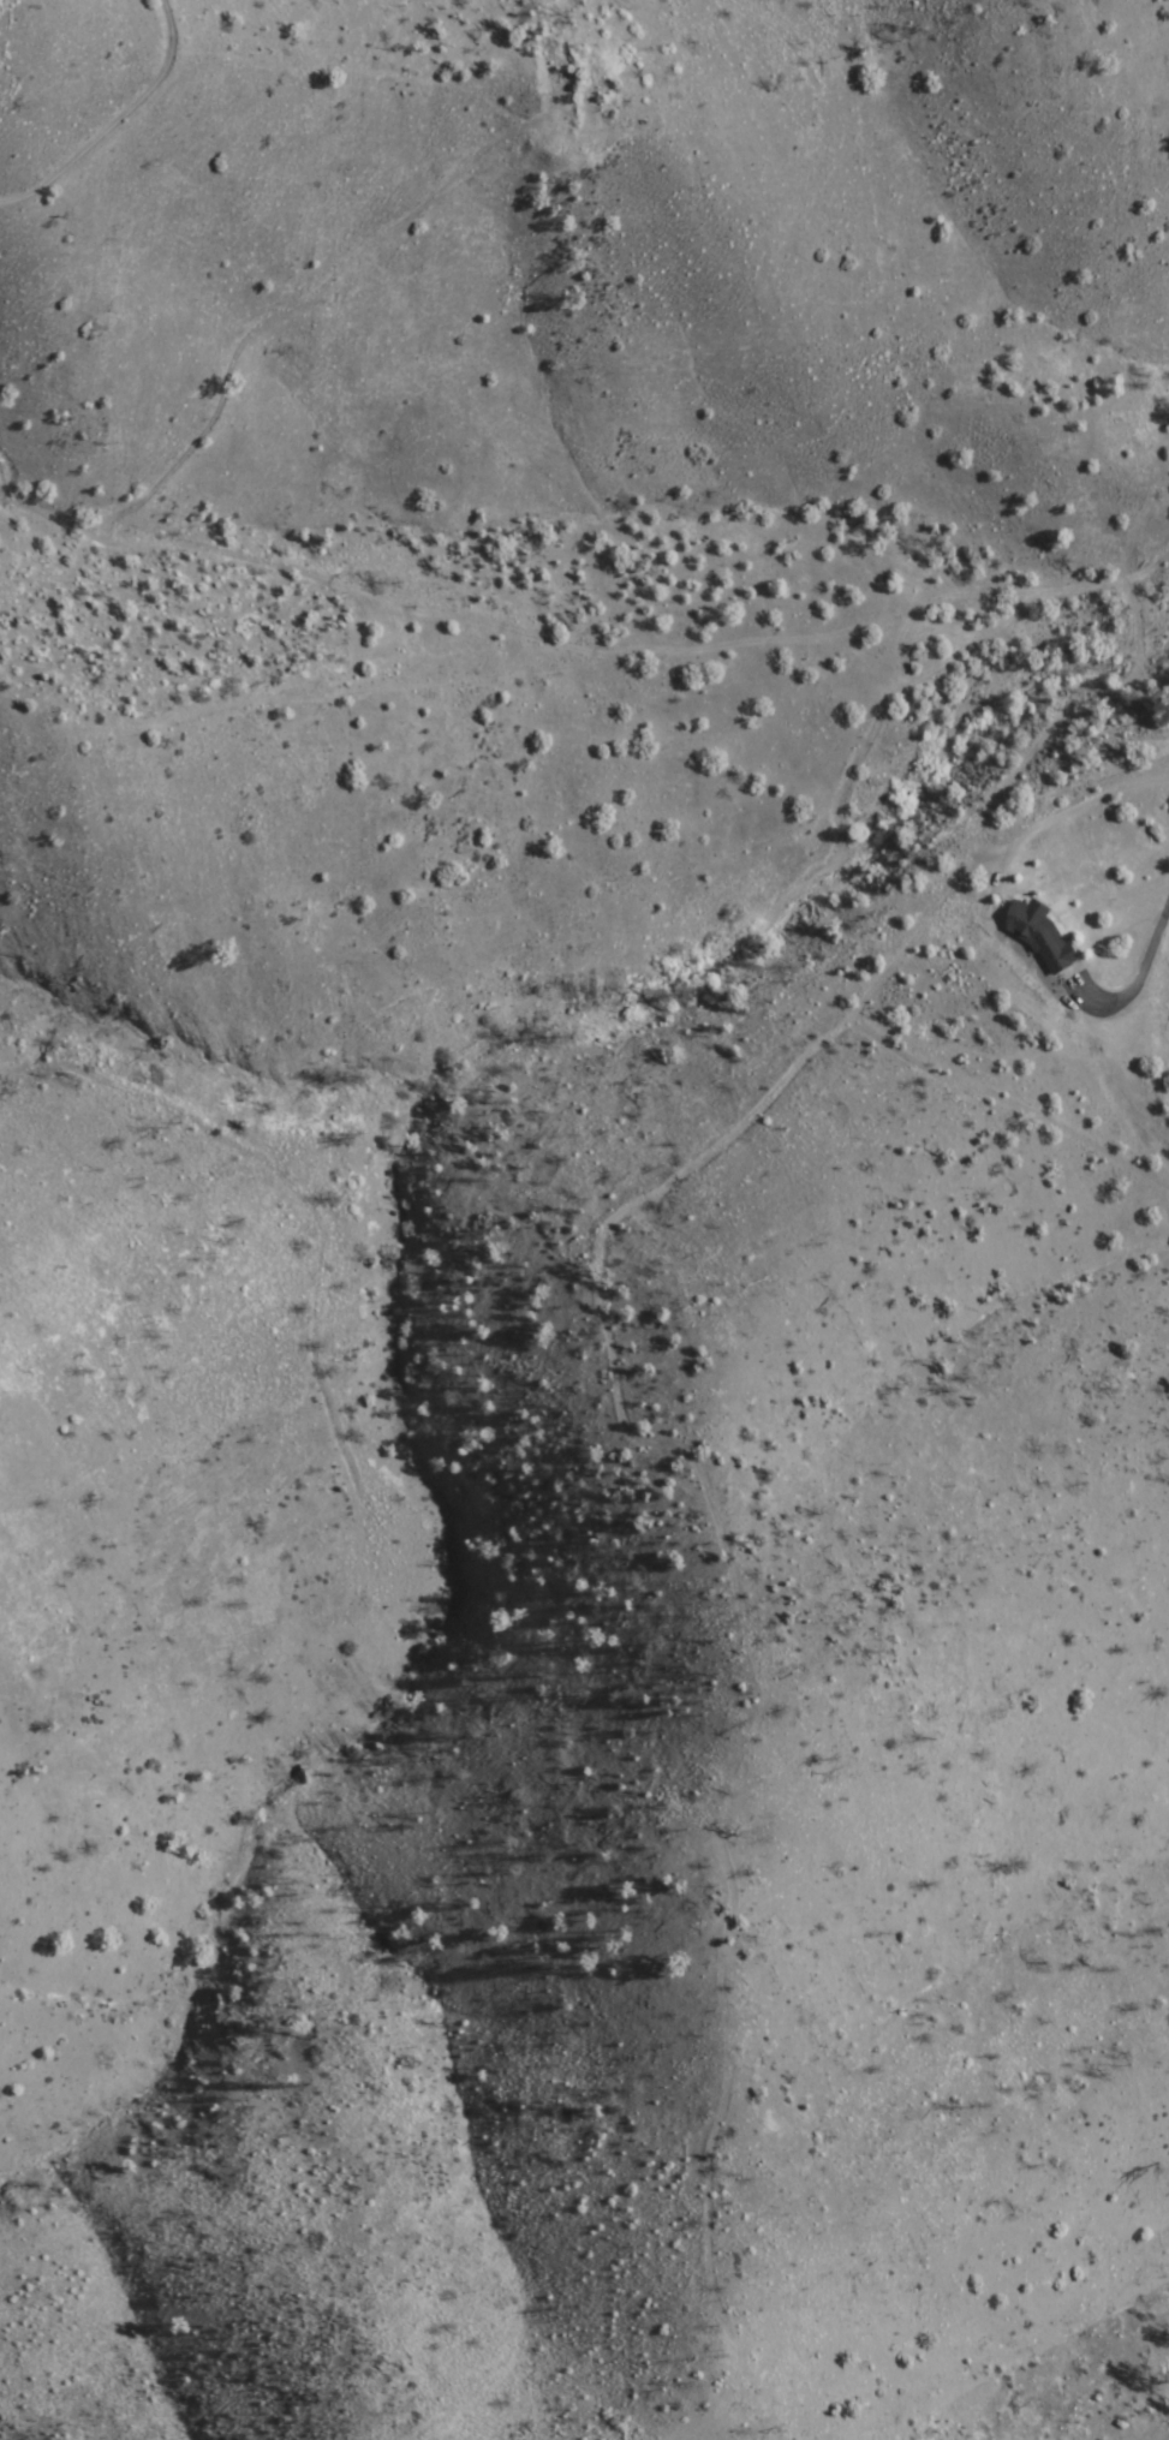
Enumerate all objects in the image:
road: (120, 126)
road: (571, 651)
building: (1040, 937)

